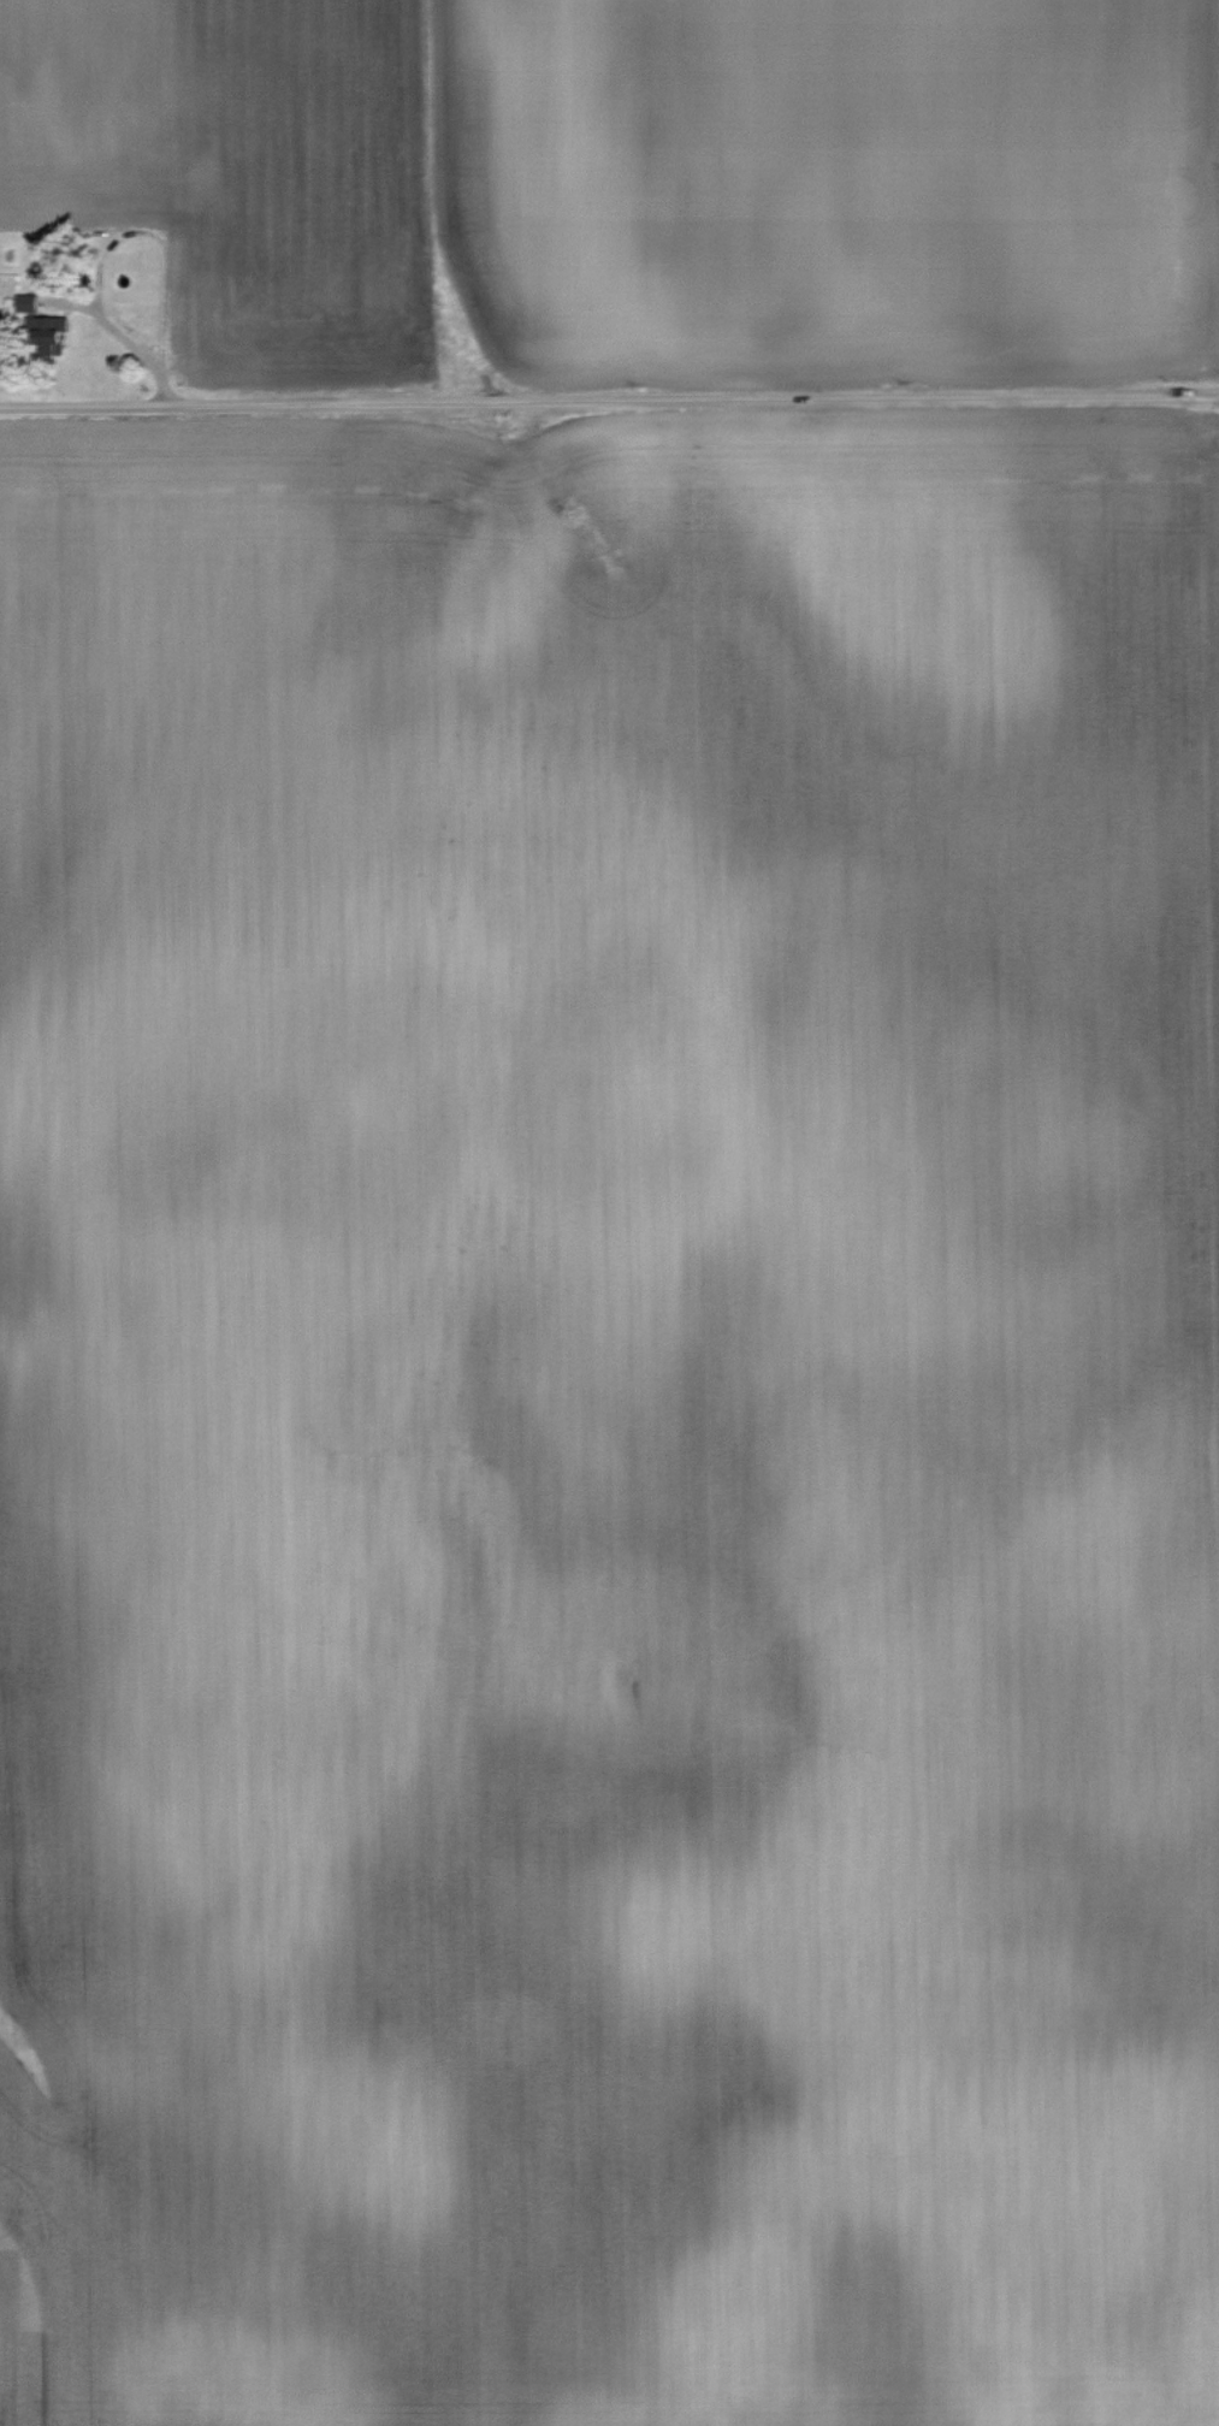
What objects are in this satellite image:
building: (22, 302)
building: (43, 333)
road: (609, 401)

